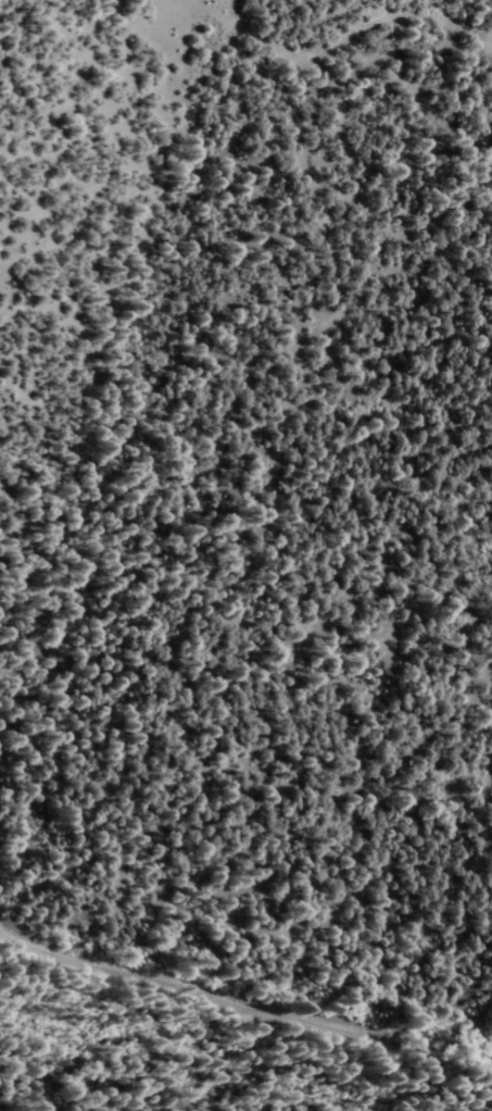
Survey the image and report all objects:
road: (451, 34)
road: (245, 941)

